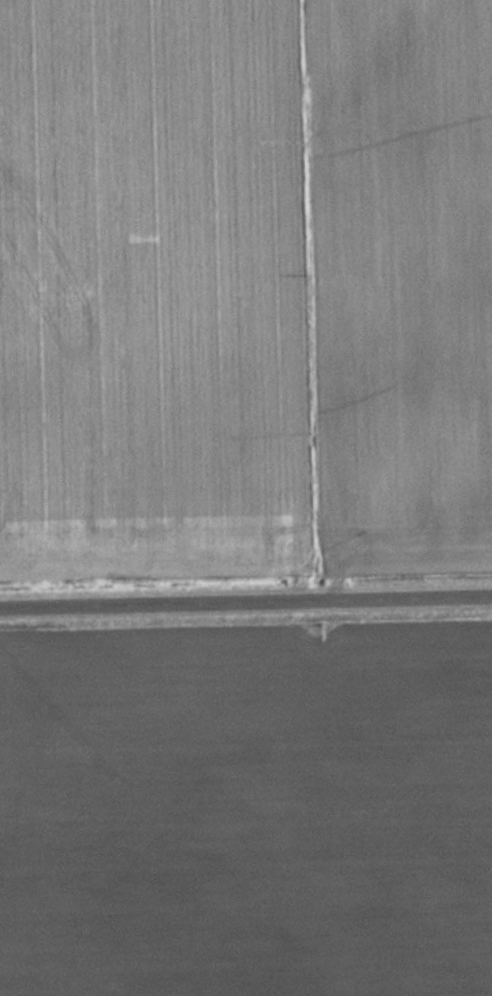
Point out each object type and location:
road: (246, 600)

